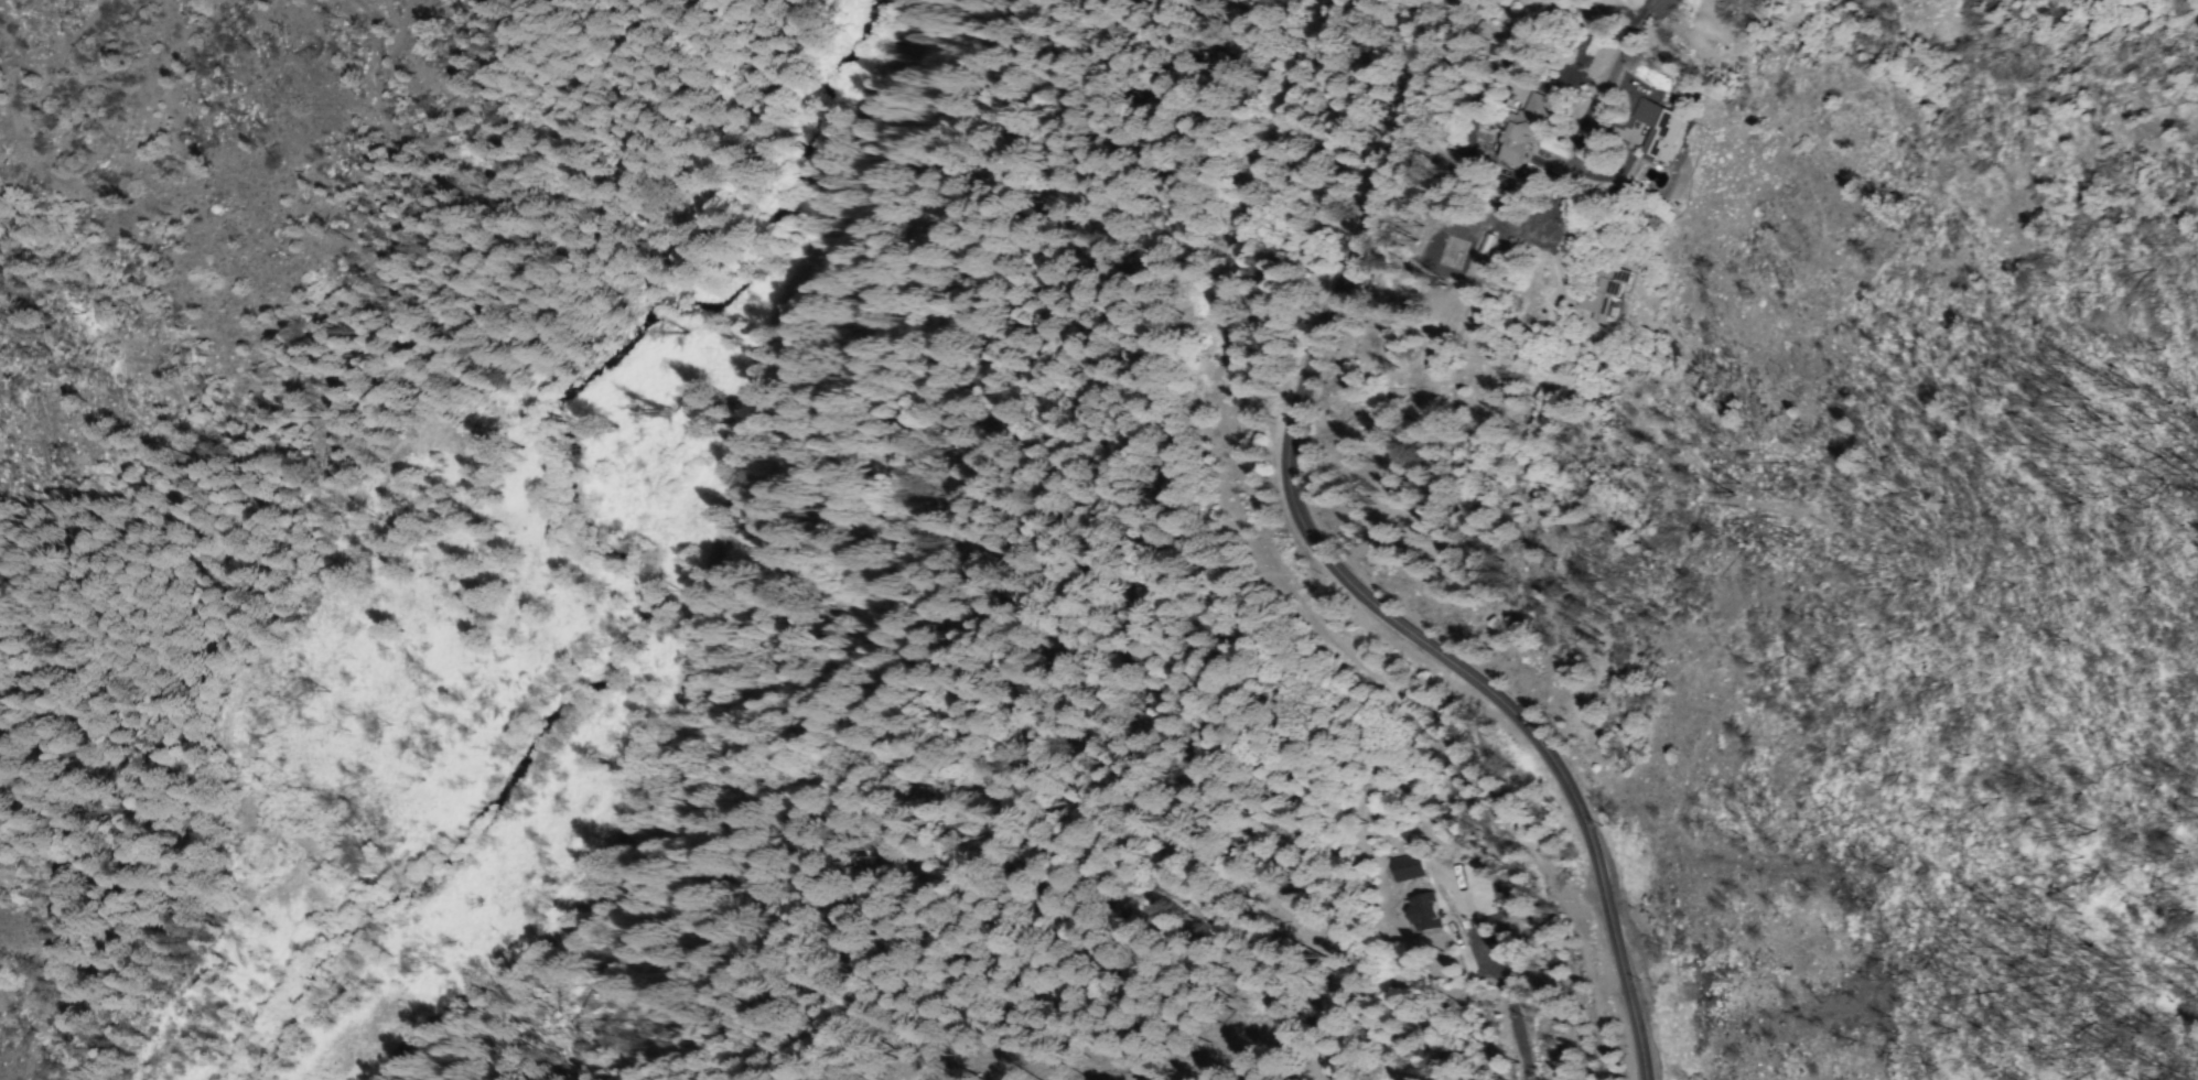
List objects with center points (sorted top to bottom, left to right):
road: (175, 111)
road: (1645, 114)
building: (1667, 130)
building: (1530, 131)
road: (1343, 570)
road: (1292, 576)
building: (1411, 870)

